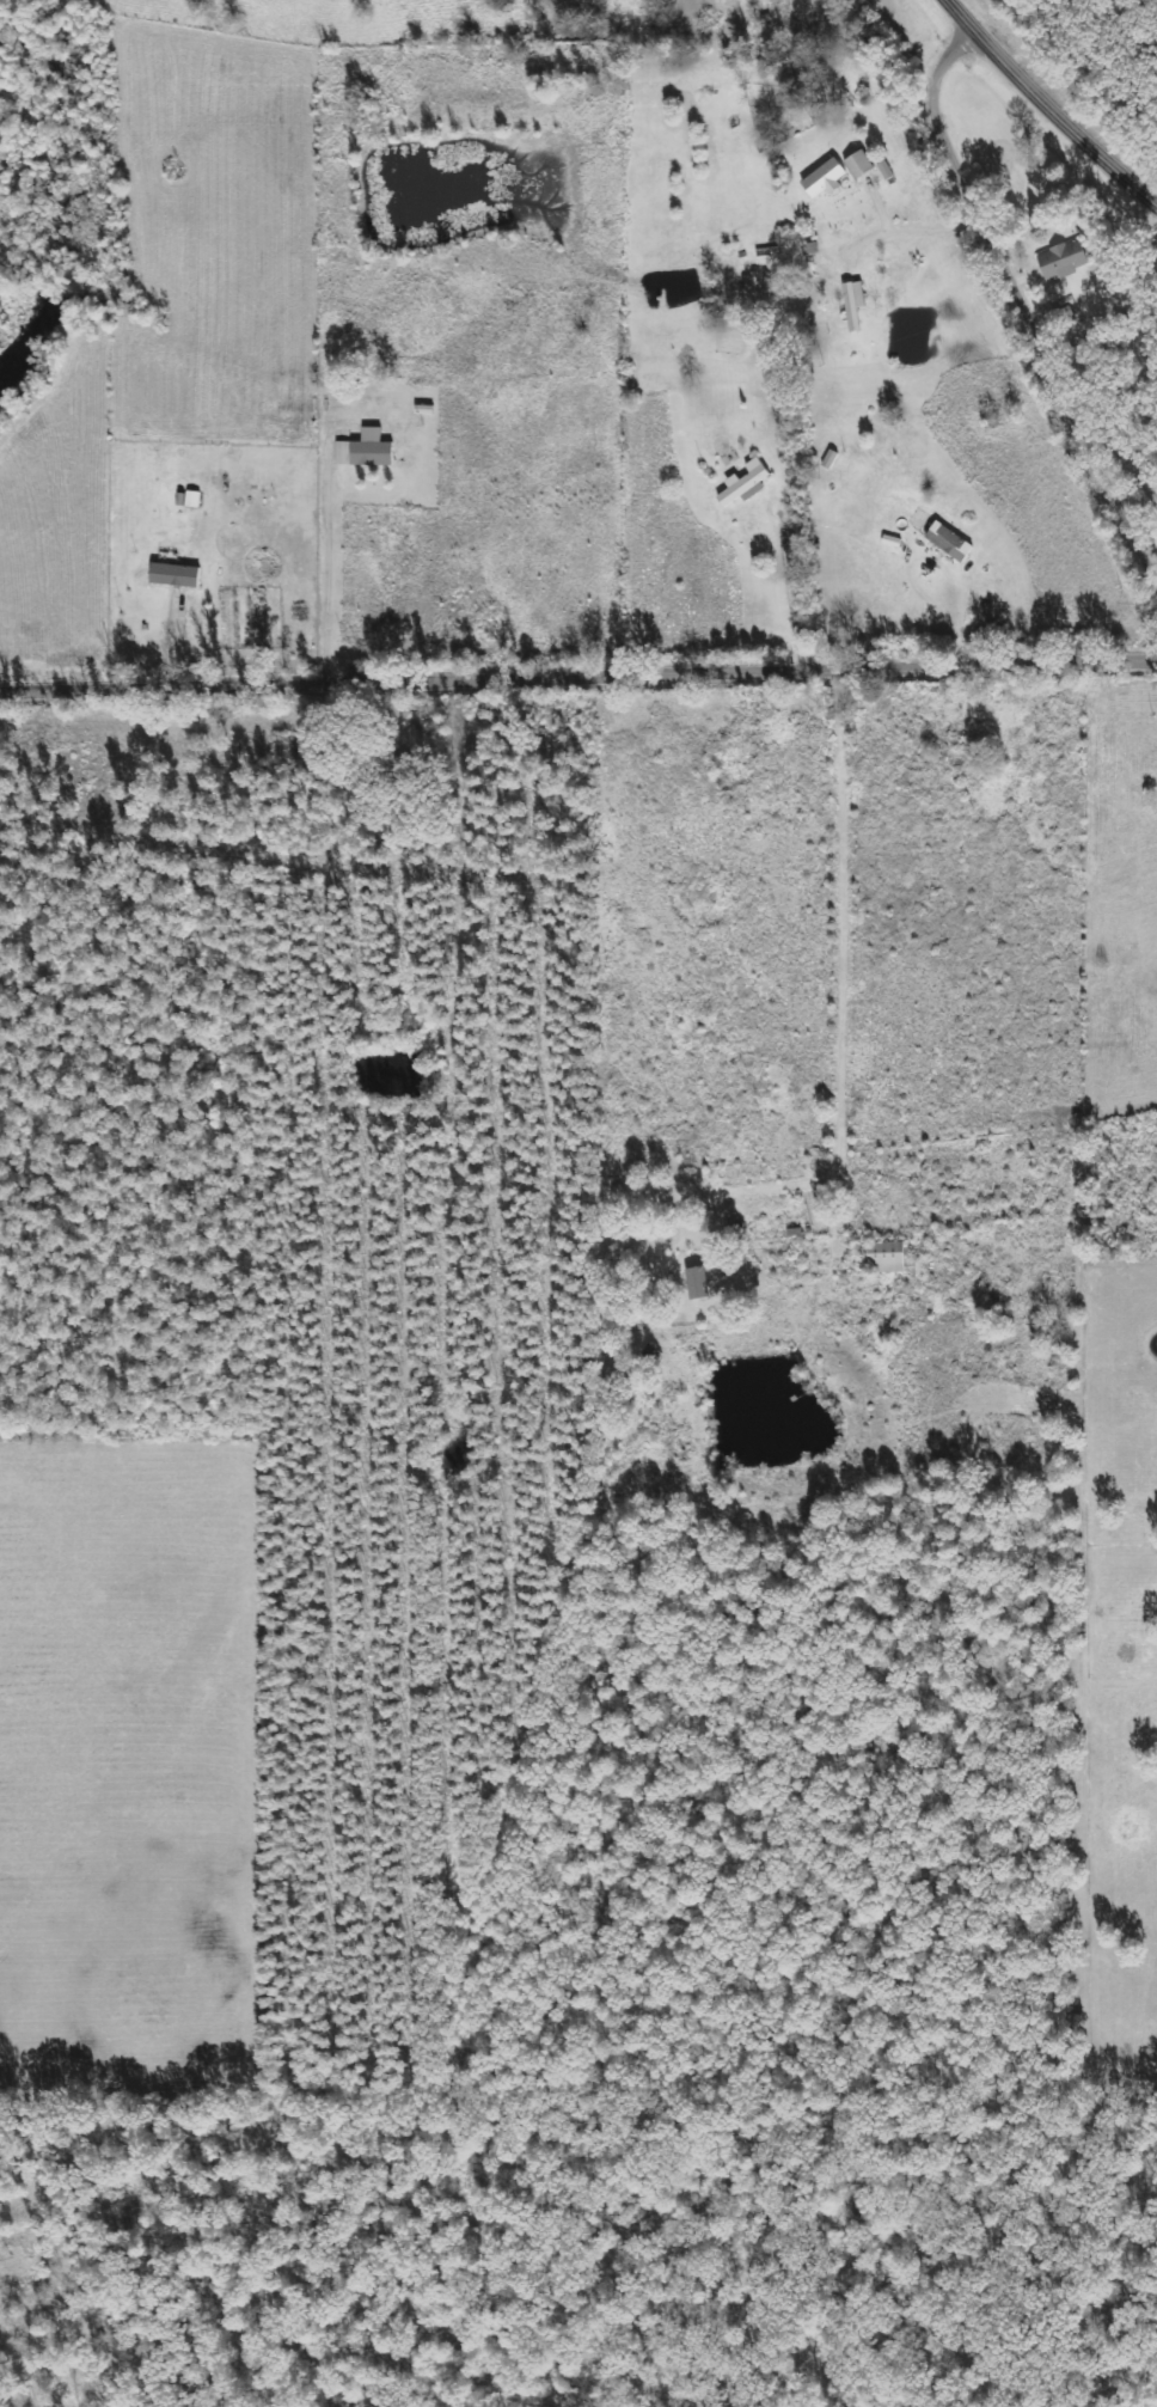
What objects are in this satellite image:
road: (1047, 108)
building: (862, 164)
building: (827, 178)
building: (1065, 258)
road: (1022, 301)
building: (856, 303)
building: (368, 450)
building: (747, 482)
building: (953, 540)
building: (178, 574)
road: (577, 686)
building: (888, 1256)
building: (699, 1282)

